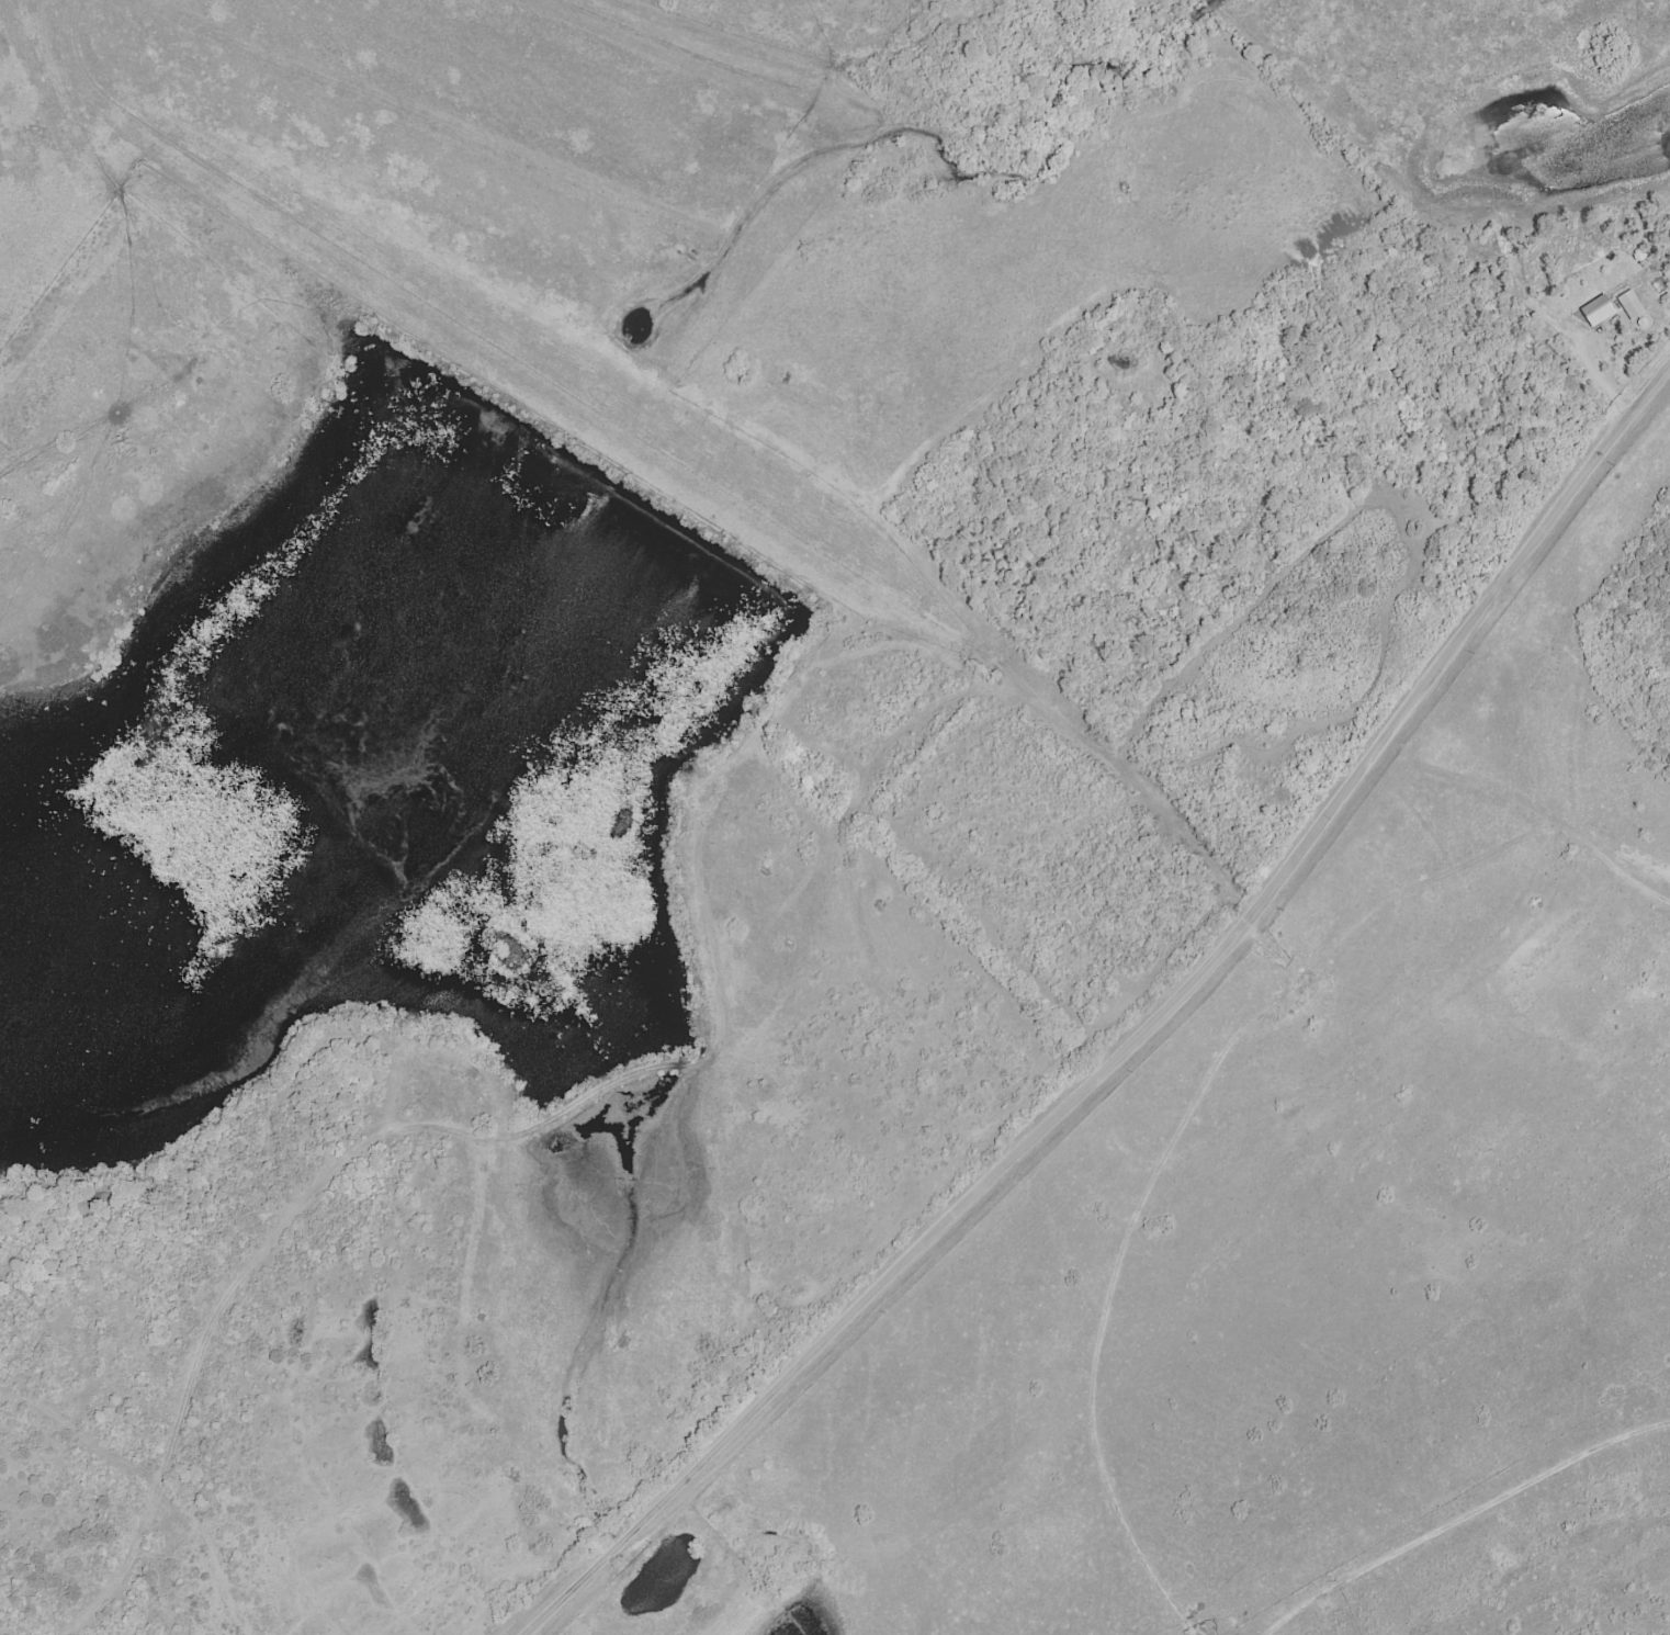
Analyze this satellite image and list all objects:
dam: (504, 371)
road: (1139, 1042)

